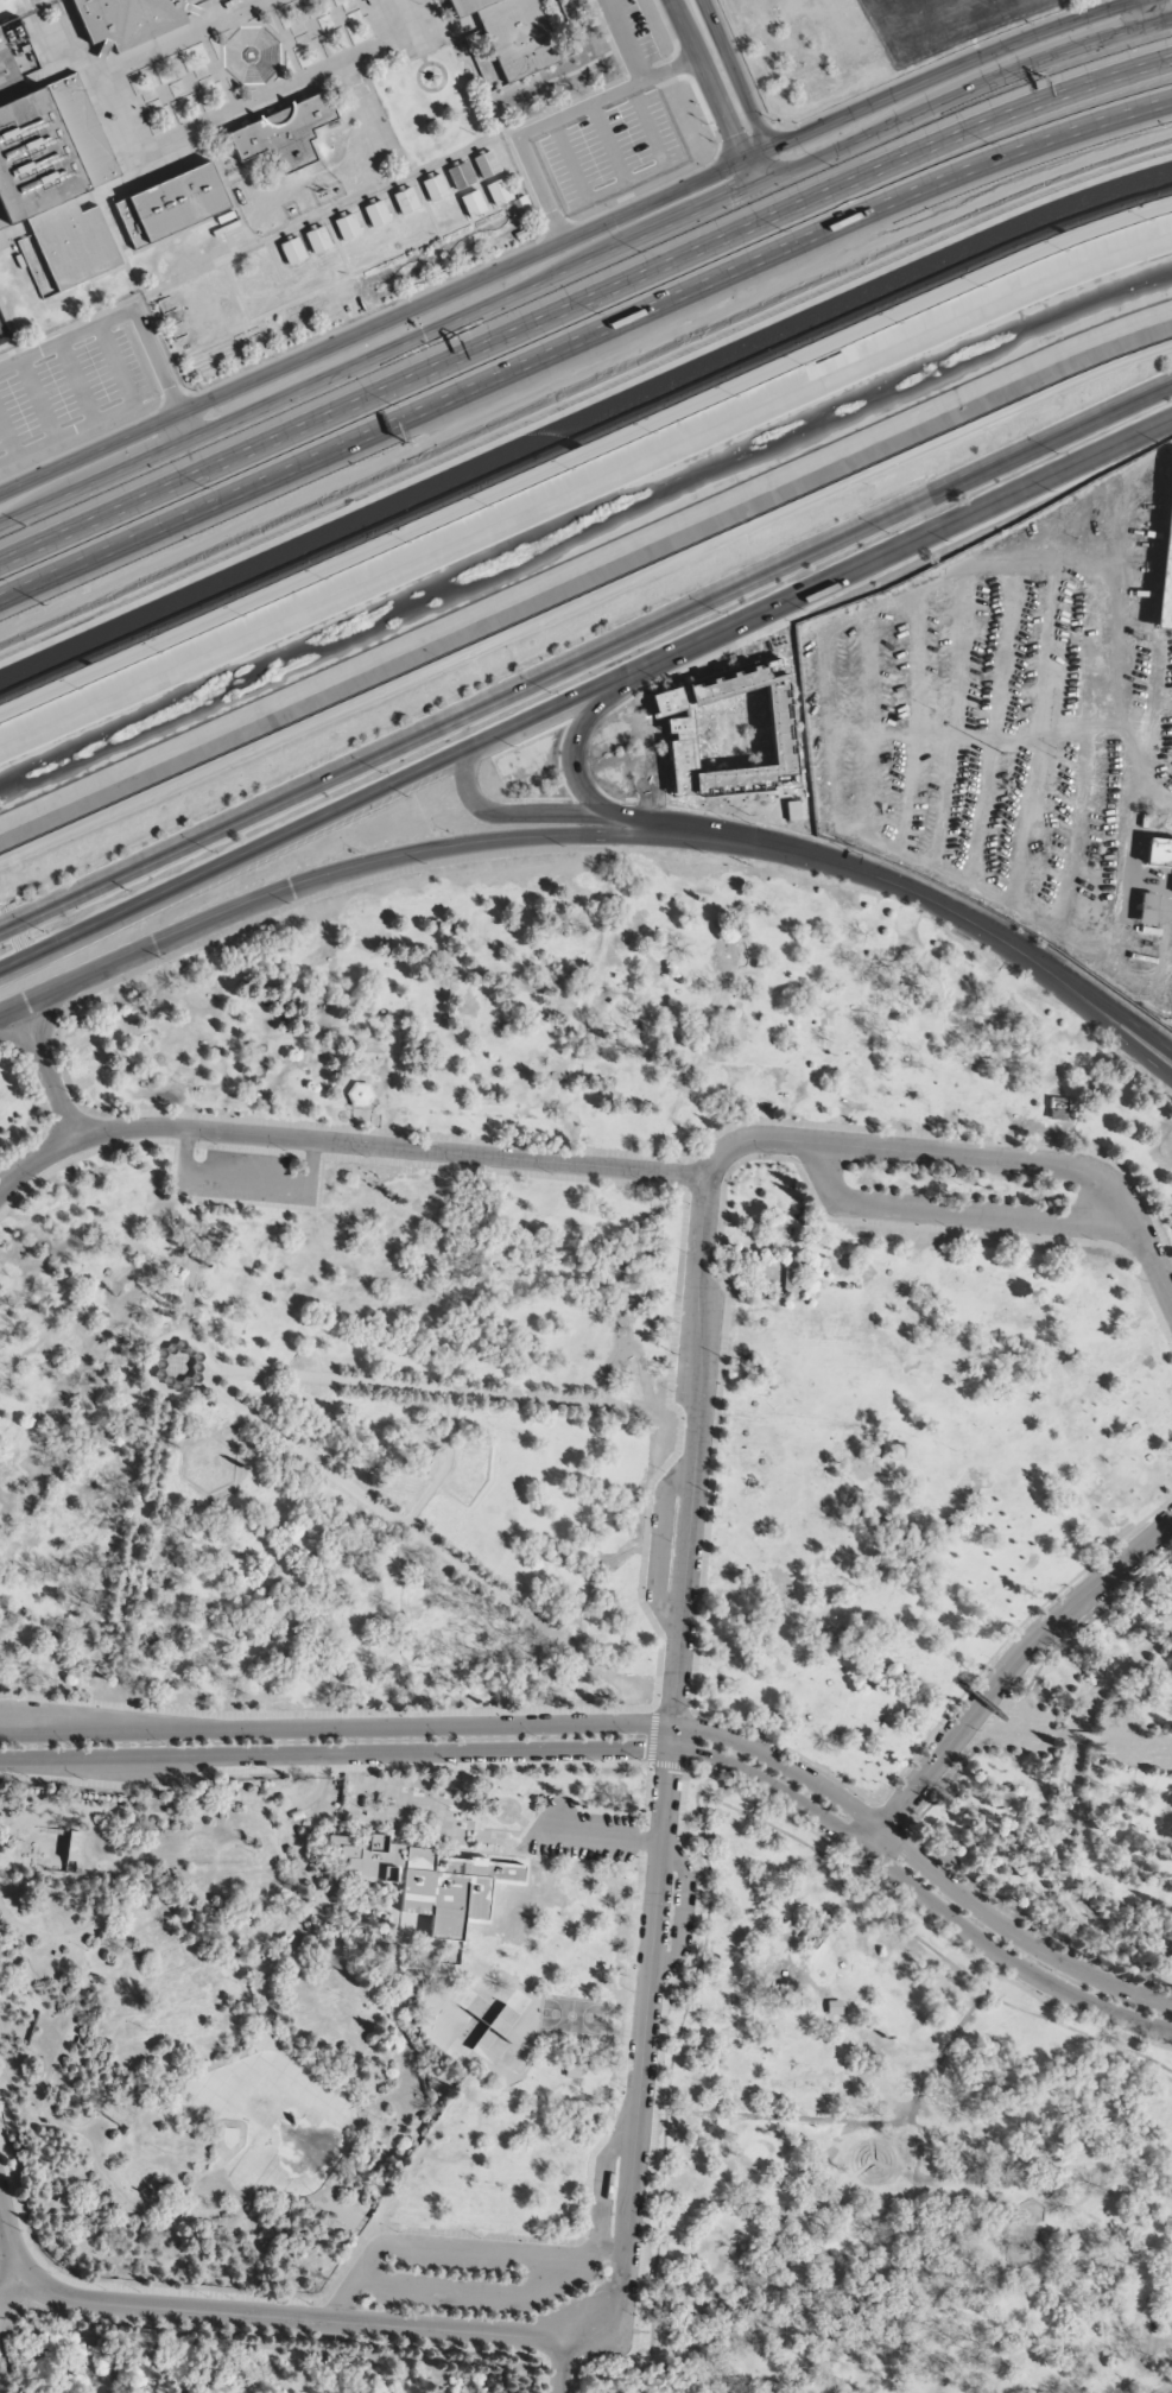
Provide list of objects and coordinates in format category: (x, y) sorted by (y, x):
road: (1000, 1)
parking lot: (1041, 2)
road: (1152, 12)
building: (126, 19)
parking lot: (627, 32)
building: (512, 34)
road: (623, 40)
park: (864, 49)
road: (951, 69)
road: (736, 75)
road: (710, 93)
road: (959, 96)
road: (553, 119)
building: (284, 132)
road: (608, 141)
parking lot: (612, 150)
road: (775, 163)
building: (484, 164)
building: (53, 172)
building: (460, 176)
road: (626, 179)
building: (435, 186)
building: (498, 191)
building: (405, 200)
building: (471, 203)
building: (171, 204)
building: (375, 213)
building: (346, 226)
building: (317, 239)
building: (292, 251)
road: (582, 302)
road: (131, 311)
road: (384, 319)
road: (582, 338)
road: (375, 354)
road: (76, 381)
parking lot: (69, 395)
road: (38, 399)
road: (106, 414)
road: (8, 437)
river: (582, 525)
road: (727, 542)
building: (1165, 556)
road: (584, 652)
road: (584, 691)
parking lot: (1012, 728)
building: (728, 732)
road: (578, 789)
road: (144, 816)
road: (546, 818)
road: (539, 835)
building: (1159, 850)
building: (1147, 907)
road: (46, 1068)
building: (360, 1095)
road: (32, 1160)
road: (171, 1164)
parking lot: (240, 1173)
road: (247, 1177)
road: (670, 1179)
road: (191, 1304)
park: (584, 1656)
road: (61, 1701)
road: (641, 1711)
parking lot: (583, 1834)
park: (577, 2015)
park: (482, 2027)
road: (11, 2237)
parking lot: (499, 2266)

